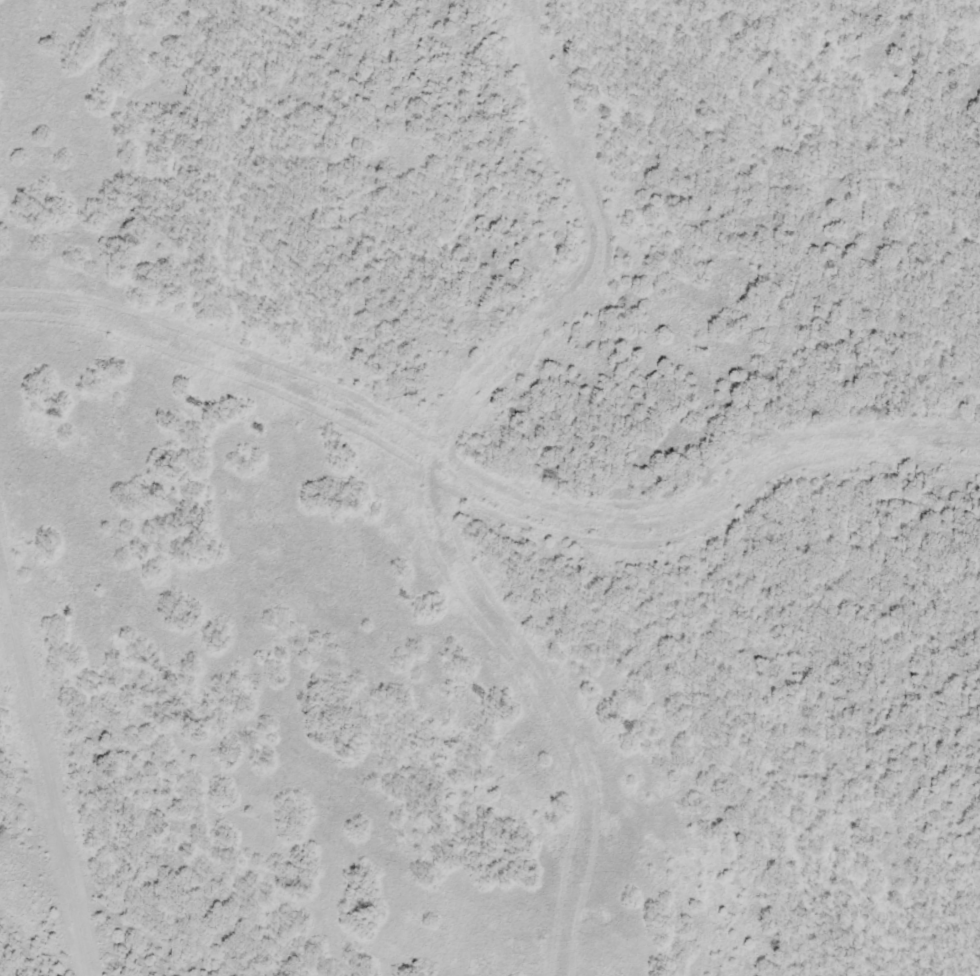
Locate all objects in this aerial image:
road: (26, 863)

